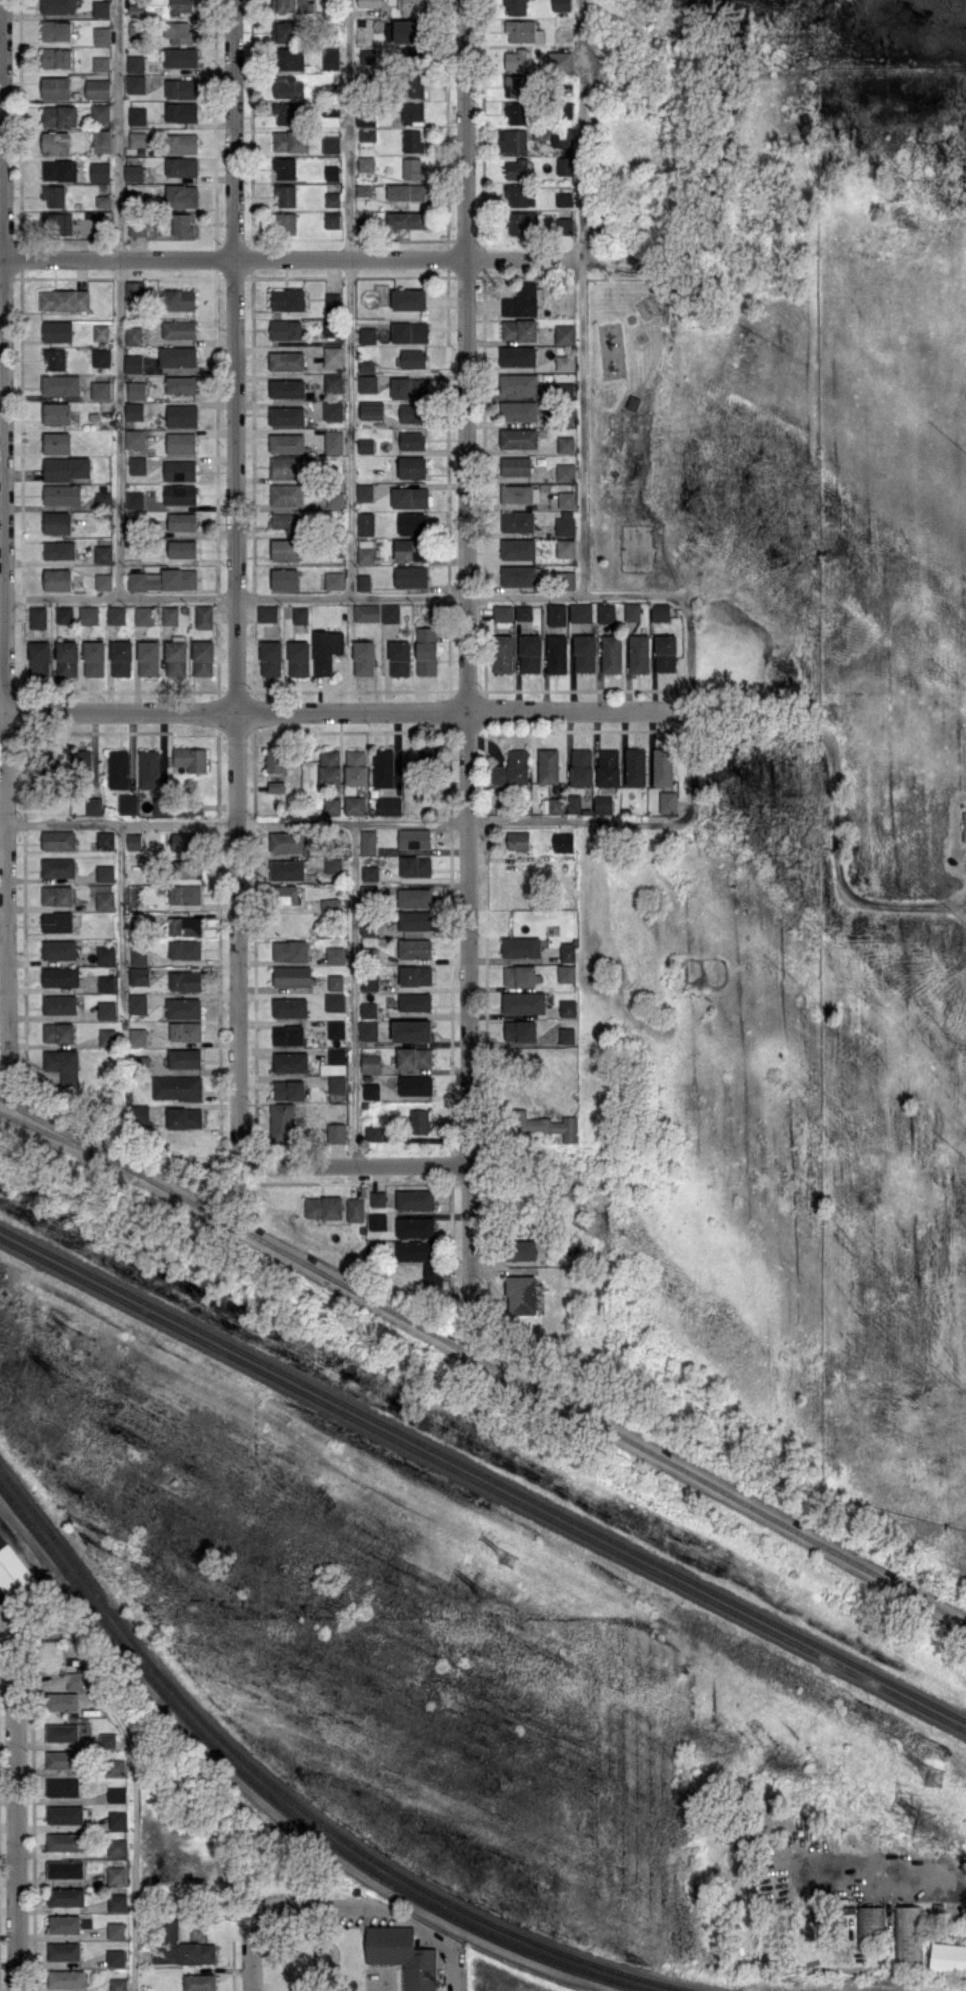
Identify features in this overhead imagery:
building: (369, 3)
building: (284, 5)
building: (561, 5)
building: (58, 6)
building: (180, 6)
building: (412, 6)
building: (516, 6)
building: (101, 8)
building: (137, 9)
building: (56, 30)
building: (178, 31)
building: (284, 31)
building: (404, 31)
building: (524, 31)
building: (102, 35)
building: (368, 55)
building: (57, 57)
building: (181, 57)
building: (331, 57)
building: (290, 58)
building: (517, 59)
building: (560, 60)
building: (101, 63)
building: (135, 63)
building: (136, 84)
building: (414, 85)
building: (516, 85)
building: (288, 86)
building: (55, 87)
building: (97, 88)
building: (182, 88)
building: (564, 109)
building: (331, 110)
building: (181, 111)
building: (100, 112)
building: (286, 112)
building: (516, 112)
building: (413, 113)
building: (59, 115)
building: (137, 115)
building: (366, 118)
building: (367, 135)
building: (562, 136)
building: (138, 138)
building: (290, 140)
building: (513, 140)
building: (102, 141)
building: (412, 141)
building: (56, 142)
building: (182, 143)
building: (325, 145)
building: (366, 163)
building: (565, 165)
building: (181, 166)
building: (285, 167)
building: (413, 168)
building: (517, 168)
building: (59, 169)
building: (100, 171)
building: (133, 172)
building: (332, 172)
building: (363, 190)
building: (406, 192)
building: (285, 194)
building: (54, 195)
building: (182, 195)
building: (519, 195)
building: (332, 198)
building: (564, 198)
building: (332, 219)
building: (406, 219)
building: (522, 222)
building: (58, 223)
building: (285, 223)
building: (182, 224)
building: (137, 229)
road: (2, 258)
road: (293, 260)
building: (134, 290)
building: (64, 299)
building: (178, 299)
building: (287, 299)
building: (409, 299)
road: (119, 300)
road: (351, 300)
building: (524, 300)
road: (583, 300)
building: (333, 301)
building: (330, 328)
building: (179, 329)
building: (285, 329)
building: (519, 329)
building: (57, 330)
building: (410, 331)
building: (102, 332)
building: (565, 334)
building: (134, 335)
building: (368, 335)
building: (333, 355)
road: (4, 356)
building: (178, 356)
road: (465, 356)
building: (518, 356)
building: (102, 357)
road: (235, 357)
building: (413, 358)
building: (55, 359)
building: (287, 360)
building: (565, 362)
building: (133, 363)
building: (366, 366)
building: (333, 382)
building: (368, 383)
building: (519, 383)
building: (61, 384)
building: (181, 384)
building: (409, 387)
building: (287, 388)
building: (101, 390)
building: (137, 390)
building: (566, 390)
building: (633, 402)
building: (372, 409)
building: (134, 410)
building: (333, 410)
building: (519, 410)
building: (57, 413)
building: (412, 413)
building: (182, 415)
building: (287, 415)
park: (631, 434)
building: (518, 437)
building: (135, 438)
building: (412, 440)
building: (334, 441)
building: (57, 442)
building: (181, 442)
building: (287, 442)
building: (566, 444)
building: (366, 445)
building: (138, 464)
building: (516, 466)
building: (292, 467)
building: (412, 467)
building: (66, 468)
building: (180, 470)
building: (566, 471)
building: (365, 492)
building: (180, 493)
building: (520, 493)
building: (62, 494)
building: (286, 494)
building: (410, 497)
building: (103, 498)
building: (135, 499)
building: (335, 499)
building: (566, 499)
building: (182, 521)
building: (286, 521)
building: (518, 521)
building: (57, 522)
building: (366, 523)
building: (413, 523)
building: (565, 523)
building: (565, 547)
building: (518, 548)
building: (59, 549)
building: (182, 549)
building: (285, 549)
building: (410, 549)
building: (366, 550)
building: (104, 553)
building: (520, 575)
building: (411, 576)
building: (58, 579)
building: (164, 579)
building: (285, 579)
building: (568, 579)
building: (334, 580)
building: (104, 581)
building: (364, 581)
road: (343, 600)
building: (661, 611)
building: (367, 612)
building: (503, 612)
building: (524, 612)
building: (581, 612)
building: (606, 612)
building: (632, 612)
building: (268, 613)
building: (391, 613)
building: (65, 614)
building: (89, 614)
building: (117, 614)
building: (170, 614)
building: (300, 614)
building: (557, 614)
building: (144, 615)
building: (204, 616)
building: (38, 617)
building: (326, 650)
building: (426, 650)
building: (585, 652)
building: (666, 652)
building: (503, 653)
building: (530, 653)
building: (557, 653)
building: (612, 653)
building: (639, 653)
building: (121, 657)
building: (203, 657)
building: (299, 657)
building: (364, 657)
building: (39, 658)
building: (67, 658)
building: (94, 658)
building: (148, 658)
building: (175, 658)
building: (271, 658)
building: (399, 658)
road: (687, 709)
road: (348, 713)
building: (427, 754)
building: (191, 758)
building: (82, 759)
building: (275, 759)
building: (549, 765)
building: (330, 766)
building: (356, 766)
building: (581, 766)
building: (636, 766)
building: (663, 766)
building: (384, 767)
building: (608, 767)
building: (150, 768)
building: (513, 768)
building: (119, 769)
building: (276, 786)
building: (668, 801)
building: (127, 803)
building: (574, 803)
building: (355, 804)
building: (603, 804)
building: (94, 805)
building: (161, 805)
building: (332, 805)
building: (389, 805)
building: (555, 805)
road: (344, 822)
building: (964, 826)
building: (414, 838)
building: (59, 839)
building: (105, 839)
building: (518, 839)
building: (134, 841)
building: (183, 841)
building: (287, 841)
building: (368, 841)
building: (564, 841)
building: (334, 864)
building: (416, 865)
building: (58, 867)
building: (188, 868)
building: (287, 869)
building: (105, 872)
building: (371, 873)
road: (9, 884)
building: (101, 886)
building: (57, 894)
building: (185, 894)
building: (287, 894)
building: (415, 897)
building: (105, 900)
building: (330, 906)
building: (415, 920)
building: (58, 921)
road: (121, 921)
building: (185, 926)
building: (369, 927)
road: (238, 940)
building: (521, 946)
building: (415, 947)
building: (59, 949)
building: (186, 949)
building: (291, 950)
building: (568, 951)
building: (106, 954)
building: (139, 954)
building: (336, 954)
building: (567, 973)
building: (416, 974)
building: (139, 975)
building: (293, 975)
building: (521, 975)
building: (61, 976)
building: (185, 980)
building: (107, 982)
building: (336, 982)
building: (370, 982)
road: (355, 994)
building: (335, 1001)
building: (415, 1001)
building: (524, 1002)
building: (60, 1003)
building: (137, 1003)
building: (290, 1007)
building: (568, 1007)
building: (183, 1008)
building: (107, 1009)
building: (368, 1009)
road: (469, 1009)
building: (336, 1029)
building: (369, 1030)
building: (412, 1030)
building: (520, 1030)
building: (186, 1031)
building: (59, 1032)
building: (289, 1034)
building: (567, 1035)
building: (108, 1036)
building: (138, 1036)
building: (337, 1055)
building: (414, 1057)
building: (184, 1058)
building: (291, 1061)
building: (371, 1062)
building: (63, 1064)
building: (337, 1083)
building: (416, 1084)
building: (177, 1087)
building: (289, 1089)
building: (371, 1091)
building: (140, 1113)
building: (184, 1117)
building: (420, 1121)
building: (283, 1122)
building: (544, 1125)
building: (337, 1132)
building: (374, 1133)
railway: (68, 1139)
road: (354, 1166)
building: (377, 1198)
building: (415, 1199)
building: (323, 1207)
building: (355, 1209)
building: (377, 1221)
building: (415, 1226)
building: (521, 1249)
building: (414, 1250)
building: (433, 1273)
building: (521, 1294)
power tower: (88, 1340)
railway: (482, 1360)
power tower: (71, 1383)
railway: (482, 1475)
railway: (482, 1485)
power tower: (511, 1556)
building: (12, 1571)
power tower: (493, 1598)
road: (7, 1620)
road: (89, 1661)
building: (77, 1680)
building: (61, 1701)
building: (62, 1731)
building: (108, 1740)
building: (63, 1759)
building: (117, 1766)
power tower: (938, 1780)
building: (63, 1786)
building: (117, 1794)
railway: (278, 1800)
railway: (294, 1801)
road: (16, 1805)
building: (65, 1814)
building: (118, 1819)
power tower: (931, 1819)
building: (65, 1841)
building: (118, 1847)
building: (65, 1869)
road: (134, 1870)
building: (117, 1874)
building: (66, 1896)
building: (118, 1901)
road: (313, 1906)
building: (870, 1922)
building: (65, 1923)
building: (116, 1930)
building: (907, 1934)
building: (168, 1939)
road: (250, 1948)
building: (64, 1950)
building: (198, 1952)
building: (404, 1955)
building: (115, 1957)
building: (948, 1957)
road: (454, 1969)
building: (67, 1978)
building: (200, 1982)
road: (385, 1982)
building: (118, 1984)

